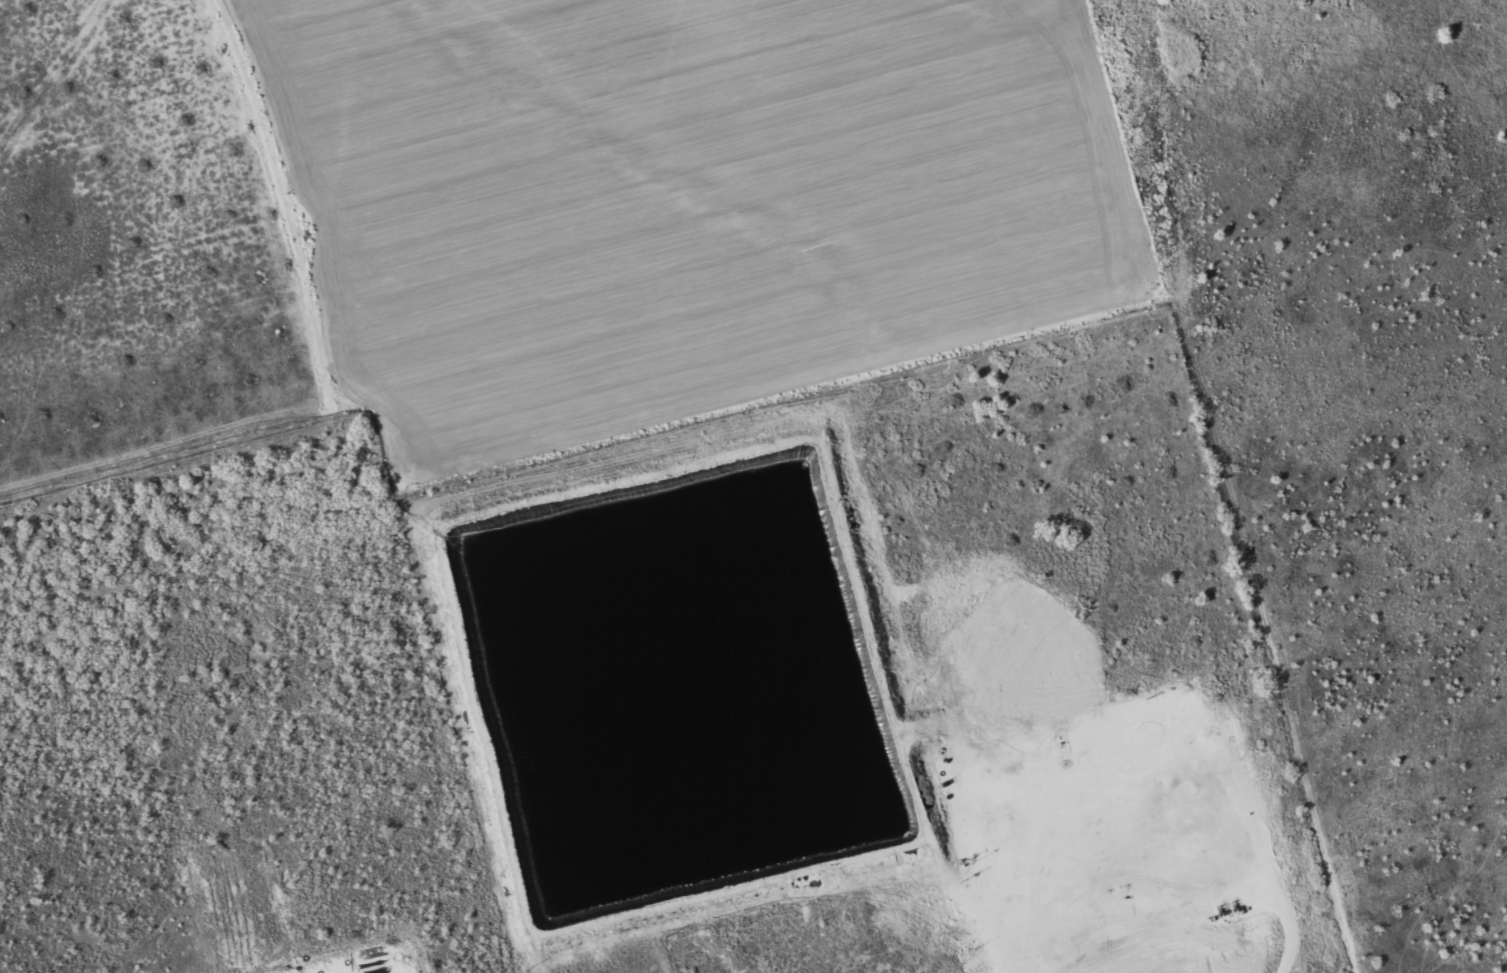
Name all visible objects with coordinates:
power tower: (1401, 905)

